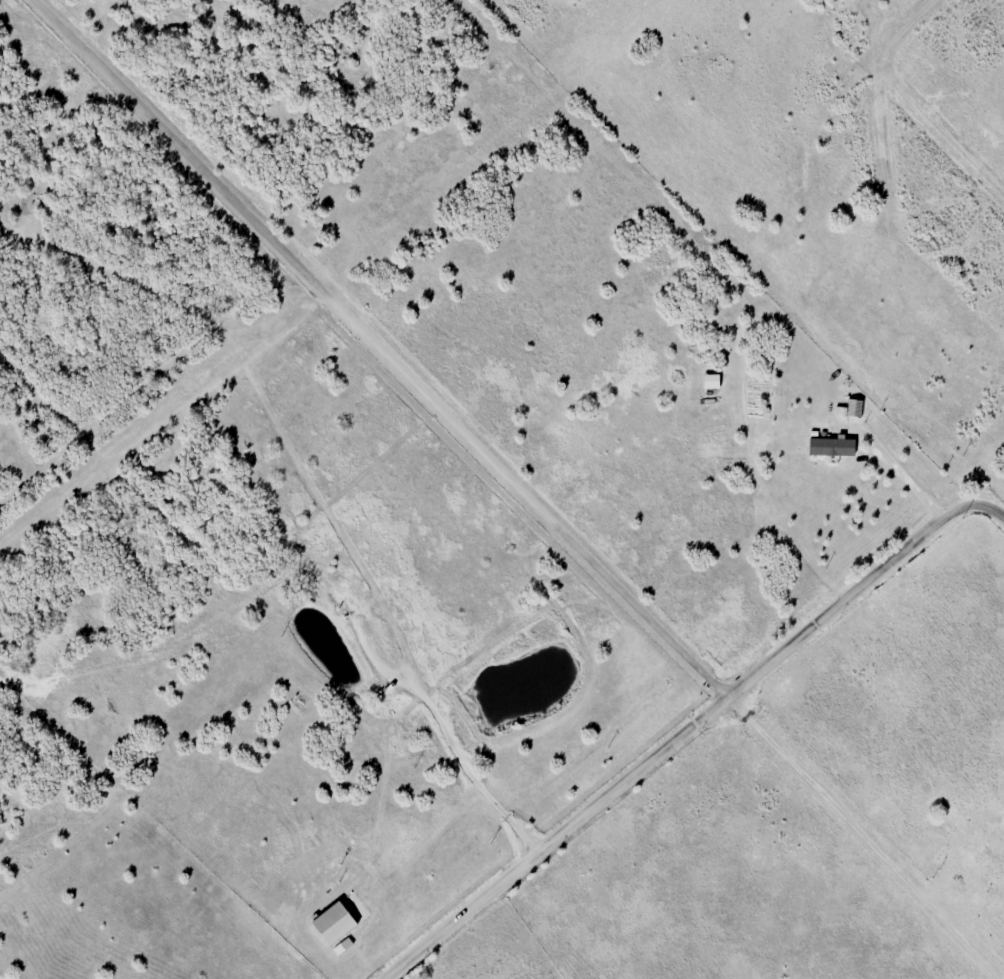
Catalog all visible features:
road: (375, 348)
building: (713, 381)
building: (853, 408)
building: (834, 446)
road: (899, 470)
road: (689, 728)
building: (337, 923)
building: (344, 946)

